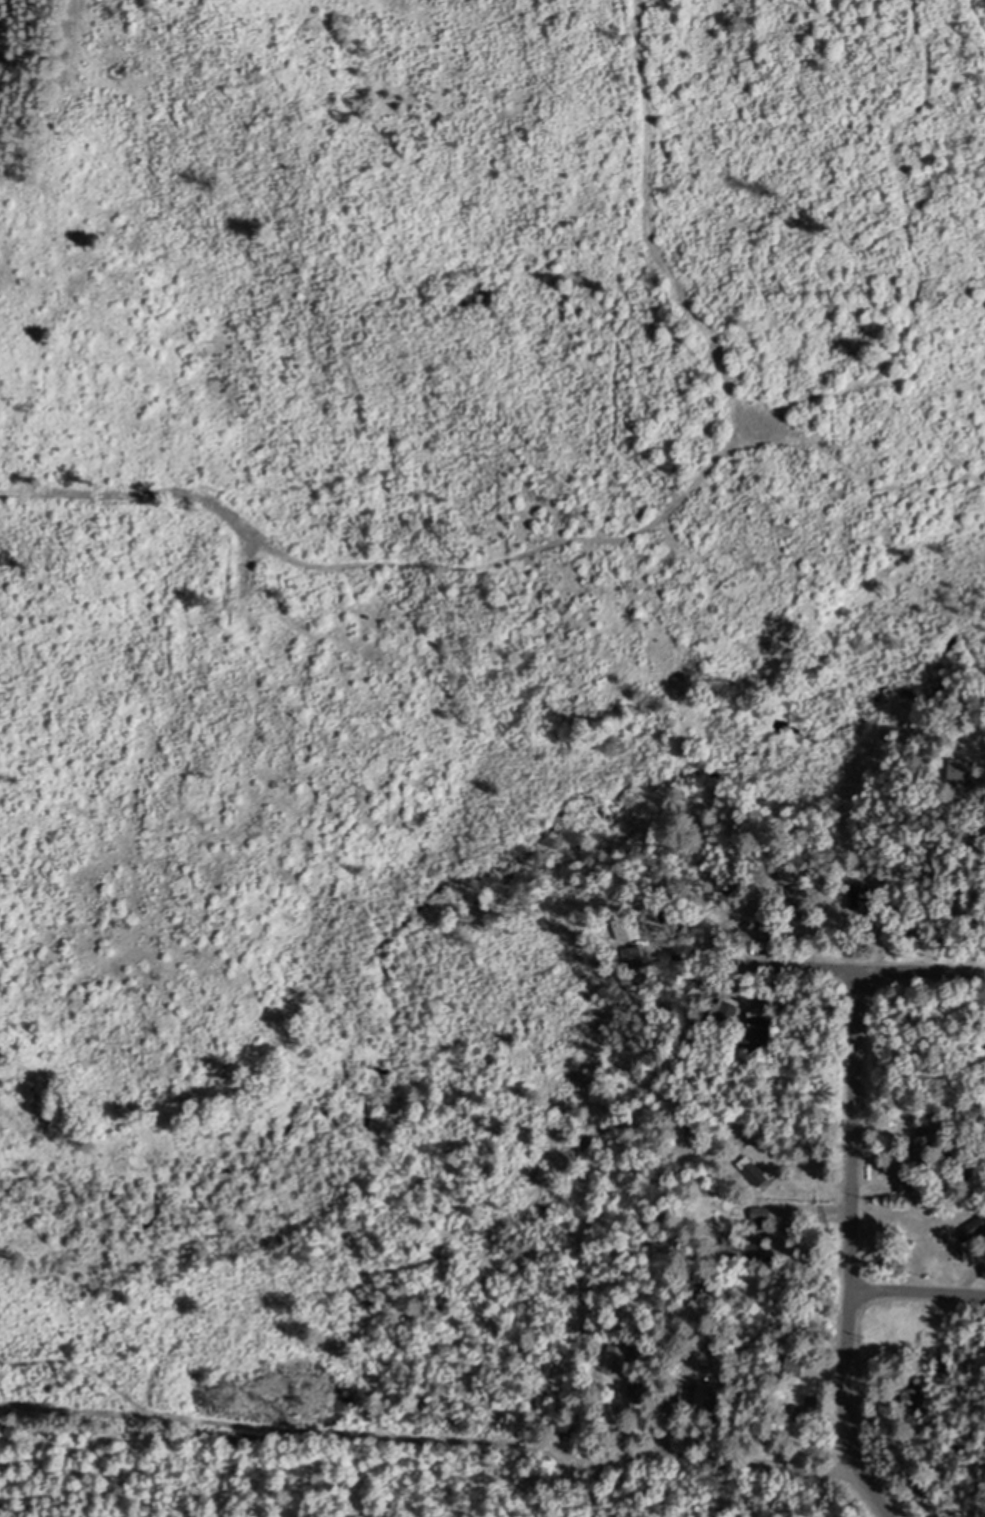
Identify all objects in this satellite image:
building: (967, 771)
building: (630, 931)
road: (858, 970)
building: (763, 1028)
building: (755, 1170)
building: (763, 1216)
building: (974, 1235)
building: (745, 1249)
road: (853, 1250)
road: (918, 1292)
building: (616, 1363)
building: (638, 1395)
building: (711, 1398)
road: (704, 1457)

